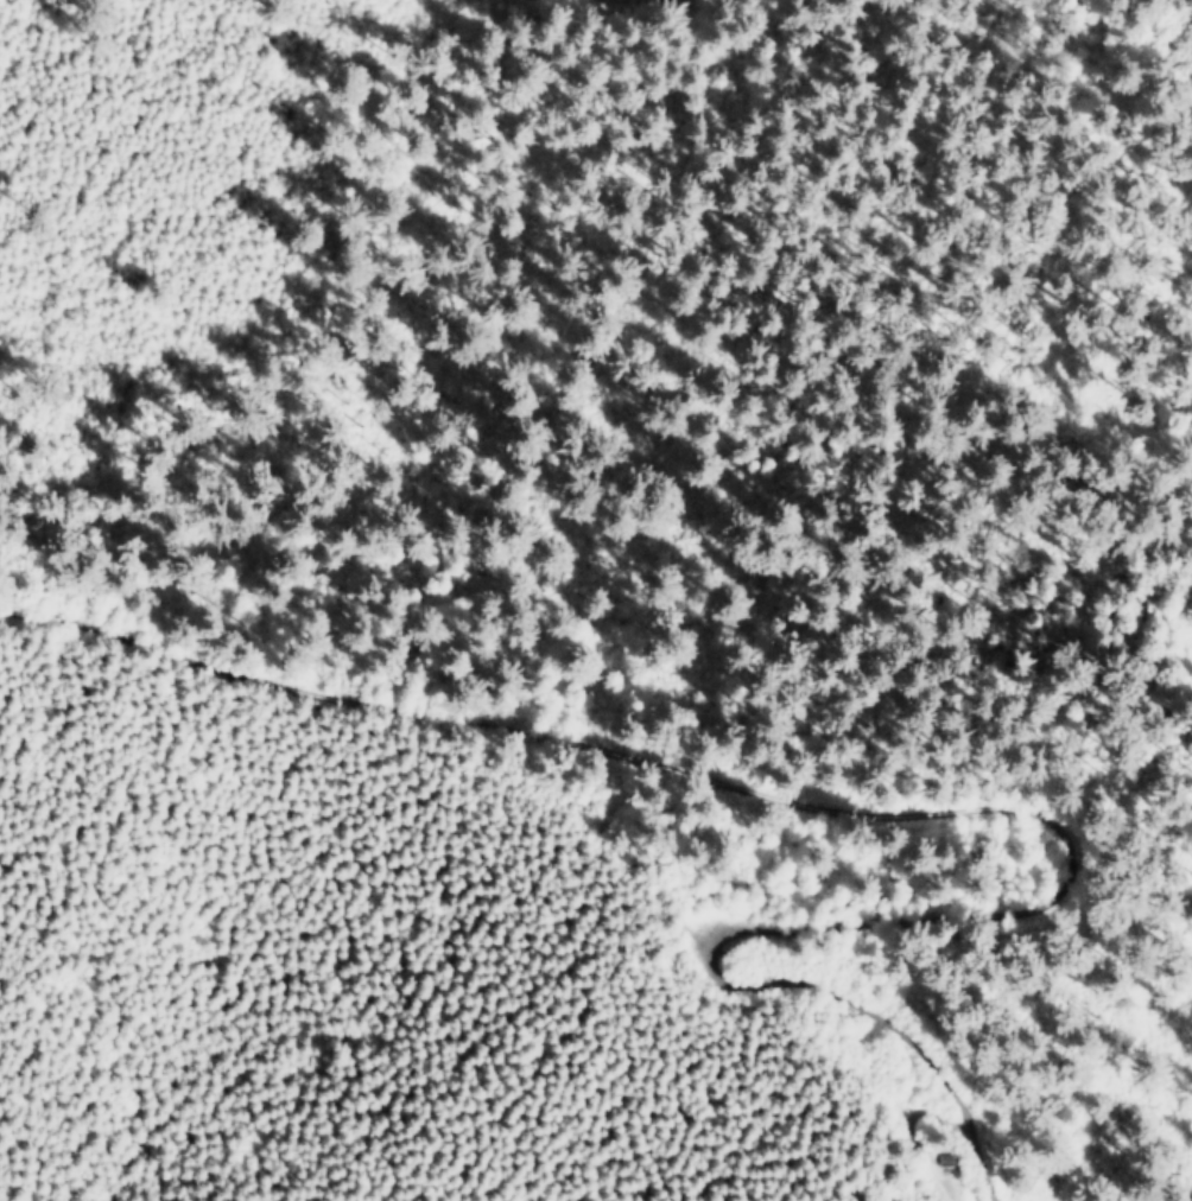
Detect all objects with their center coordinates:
road: (930, 820)

